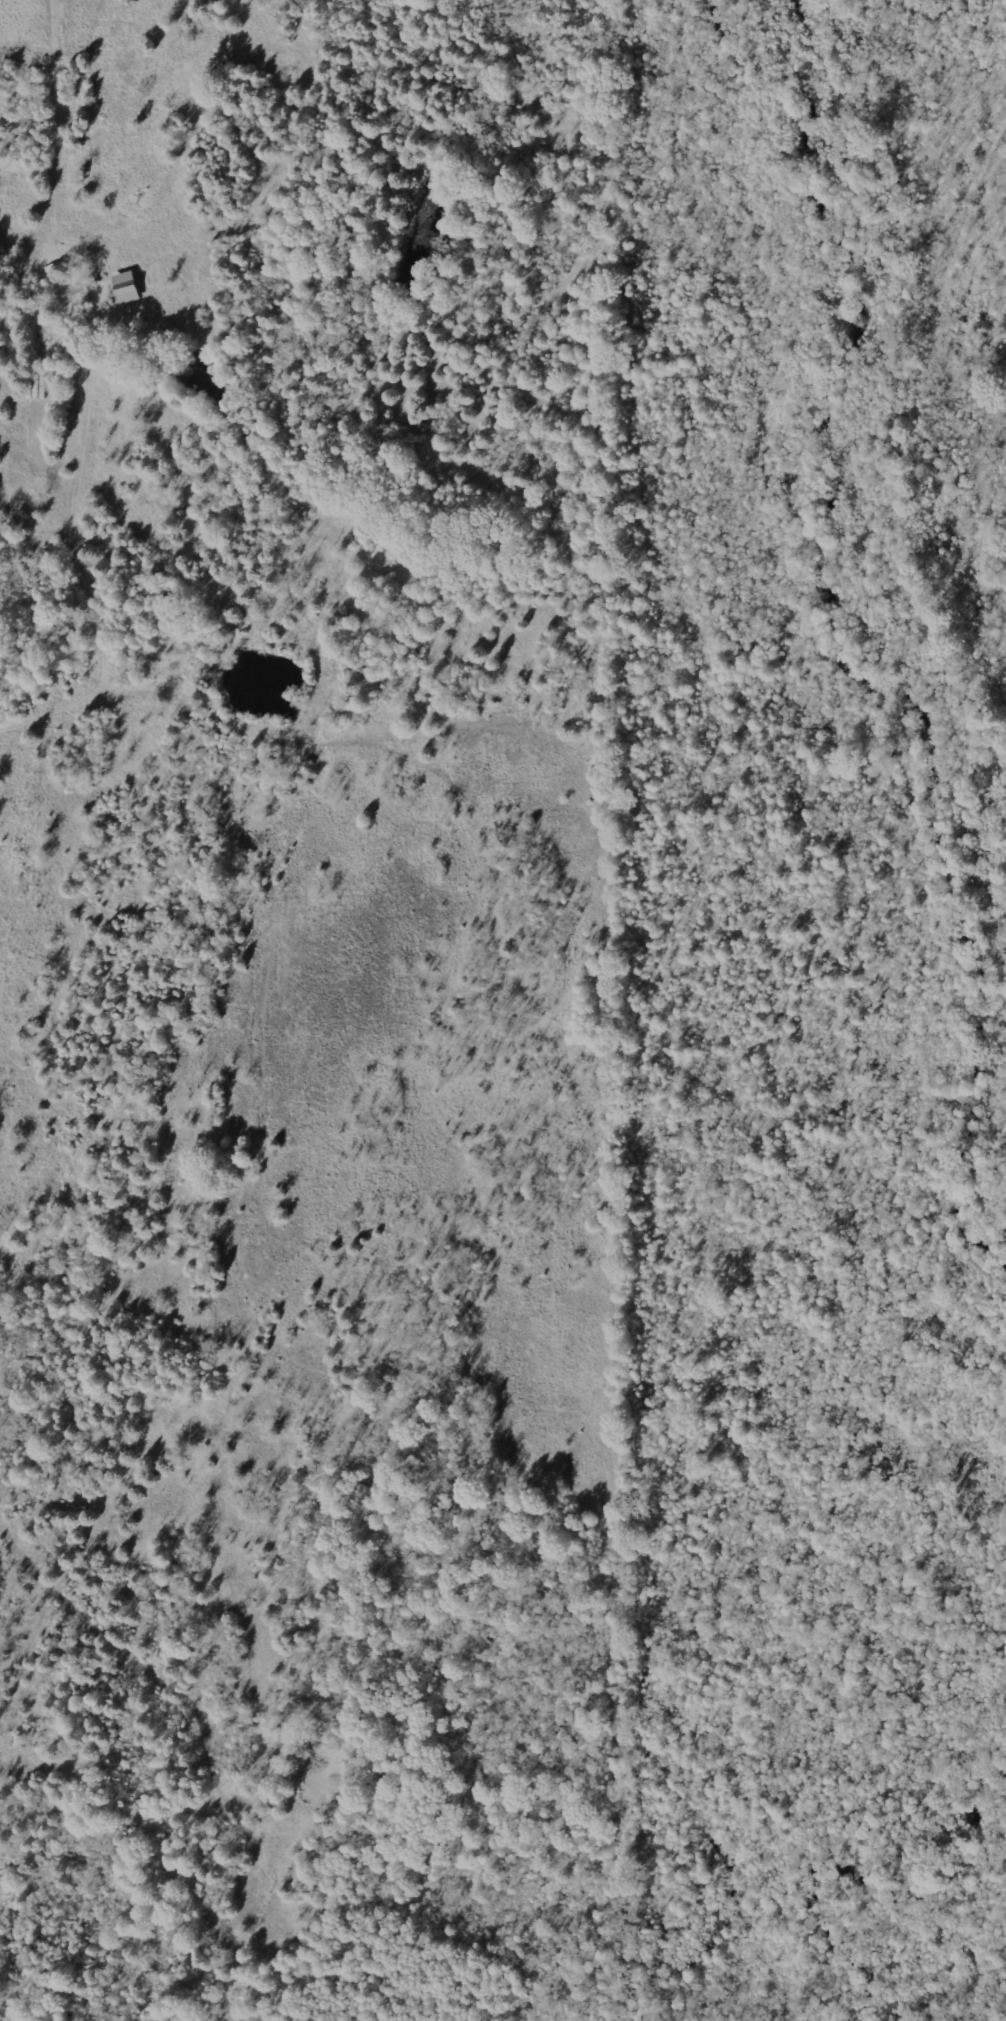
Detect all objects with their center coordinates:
road: (31, 116)

